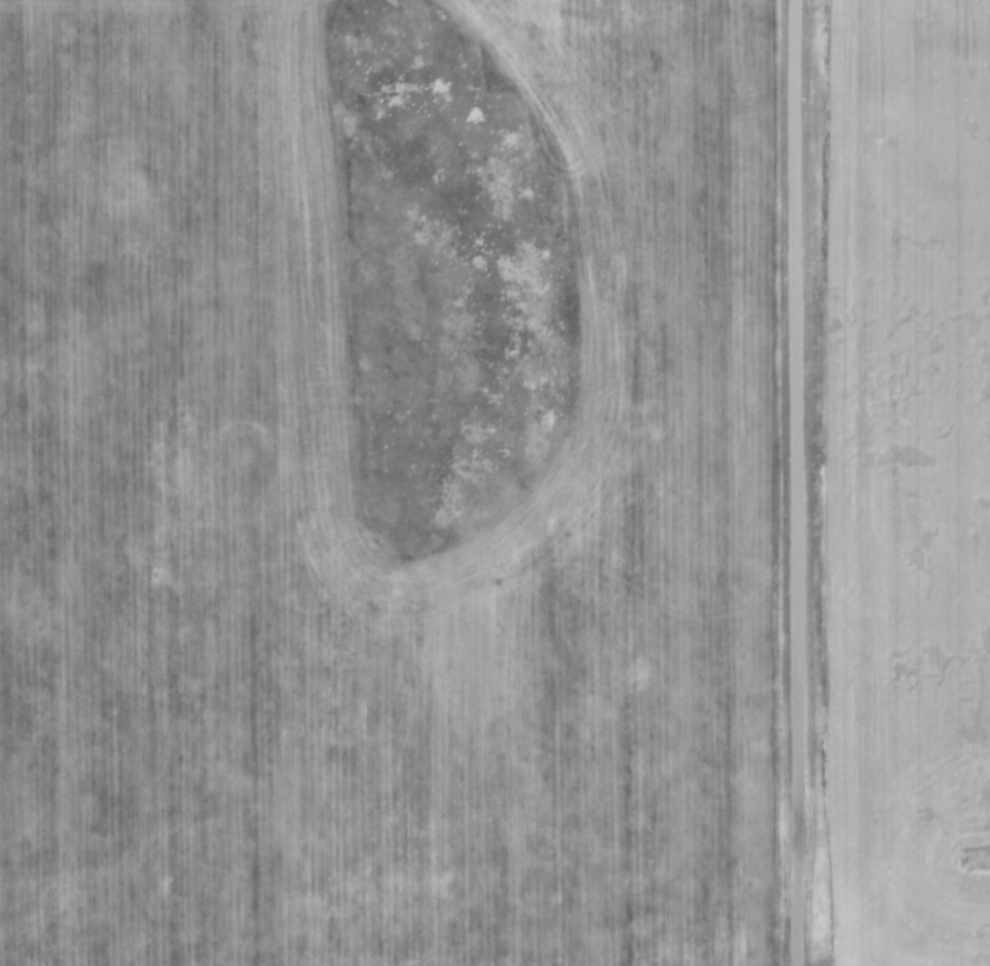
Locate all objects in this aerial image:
road: (793, 483)

